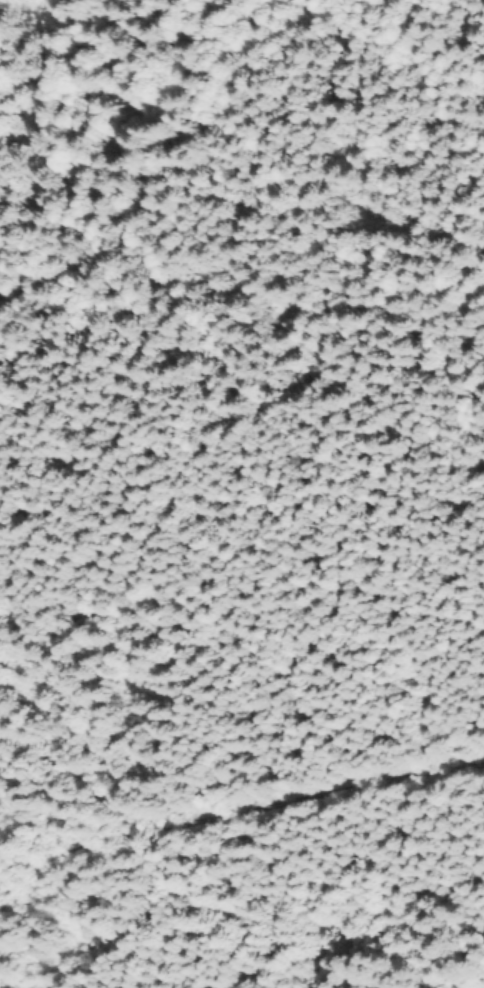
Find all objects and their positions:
road: (240, 810)

